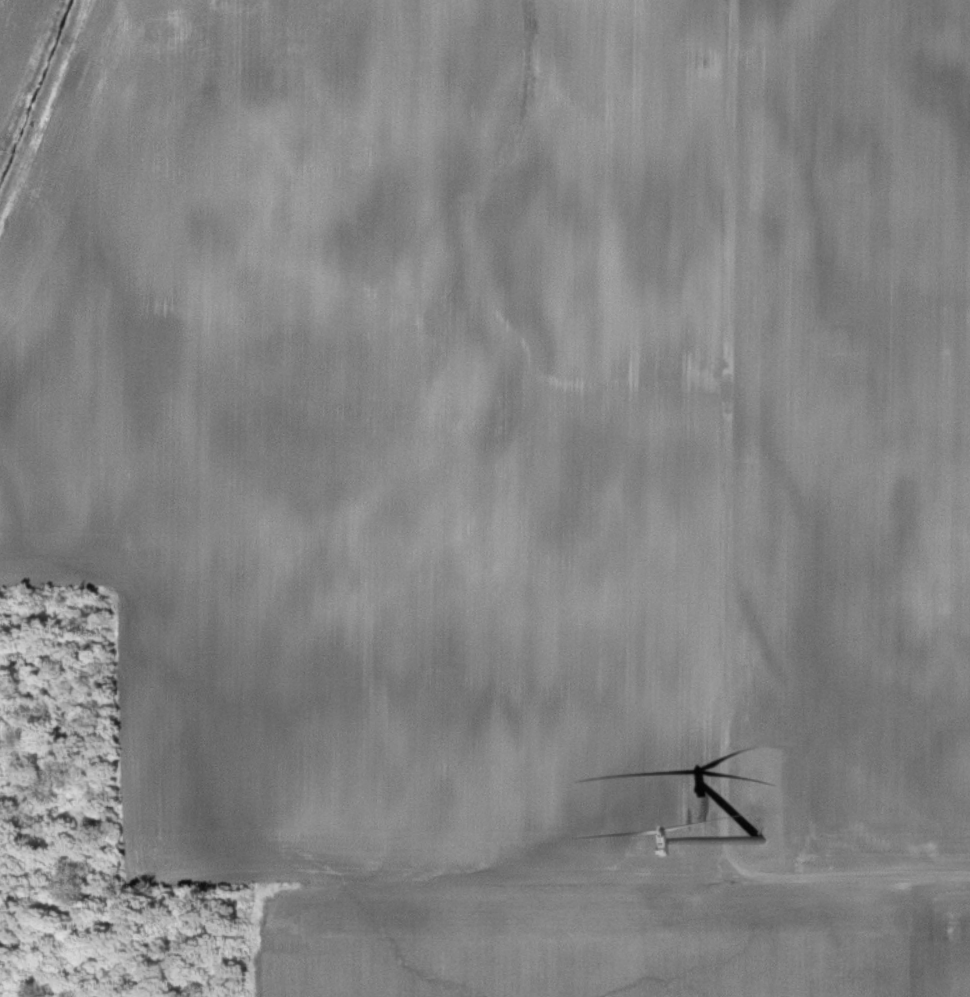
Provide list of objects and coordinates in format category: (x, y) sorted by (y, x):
wind turbine: (761, 836)

